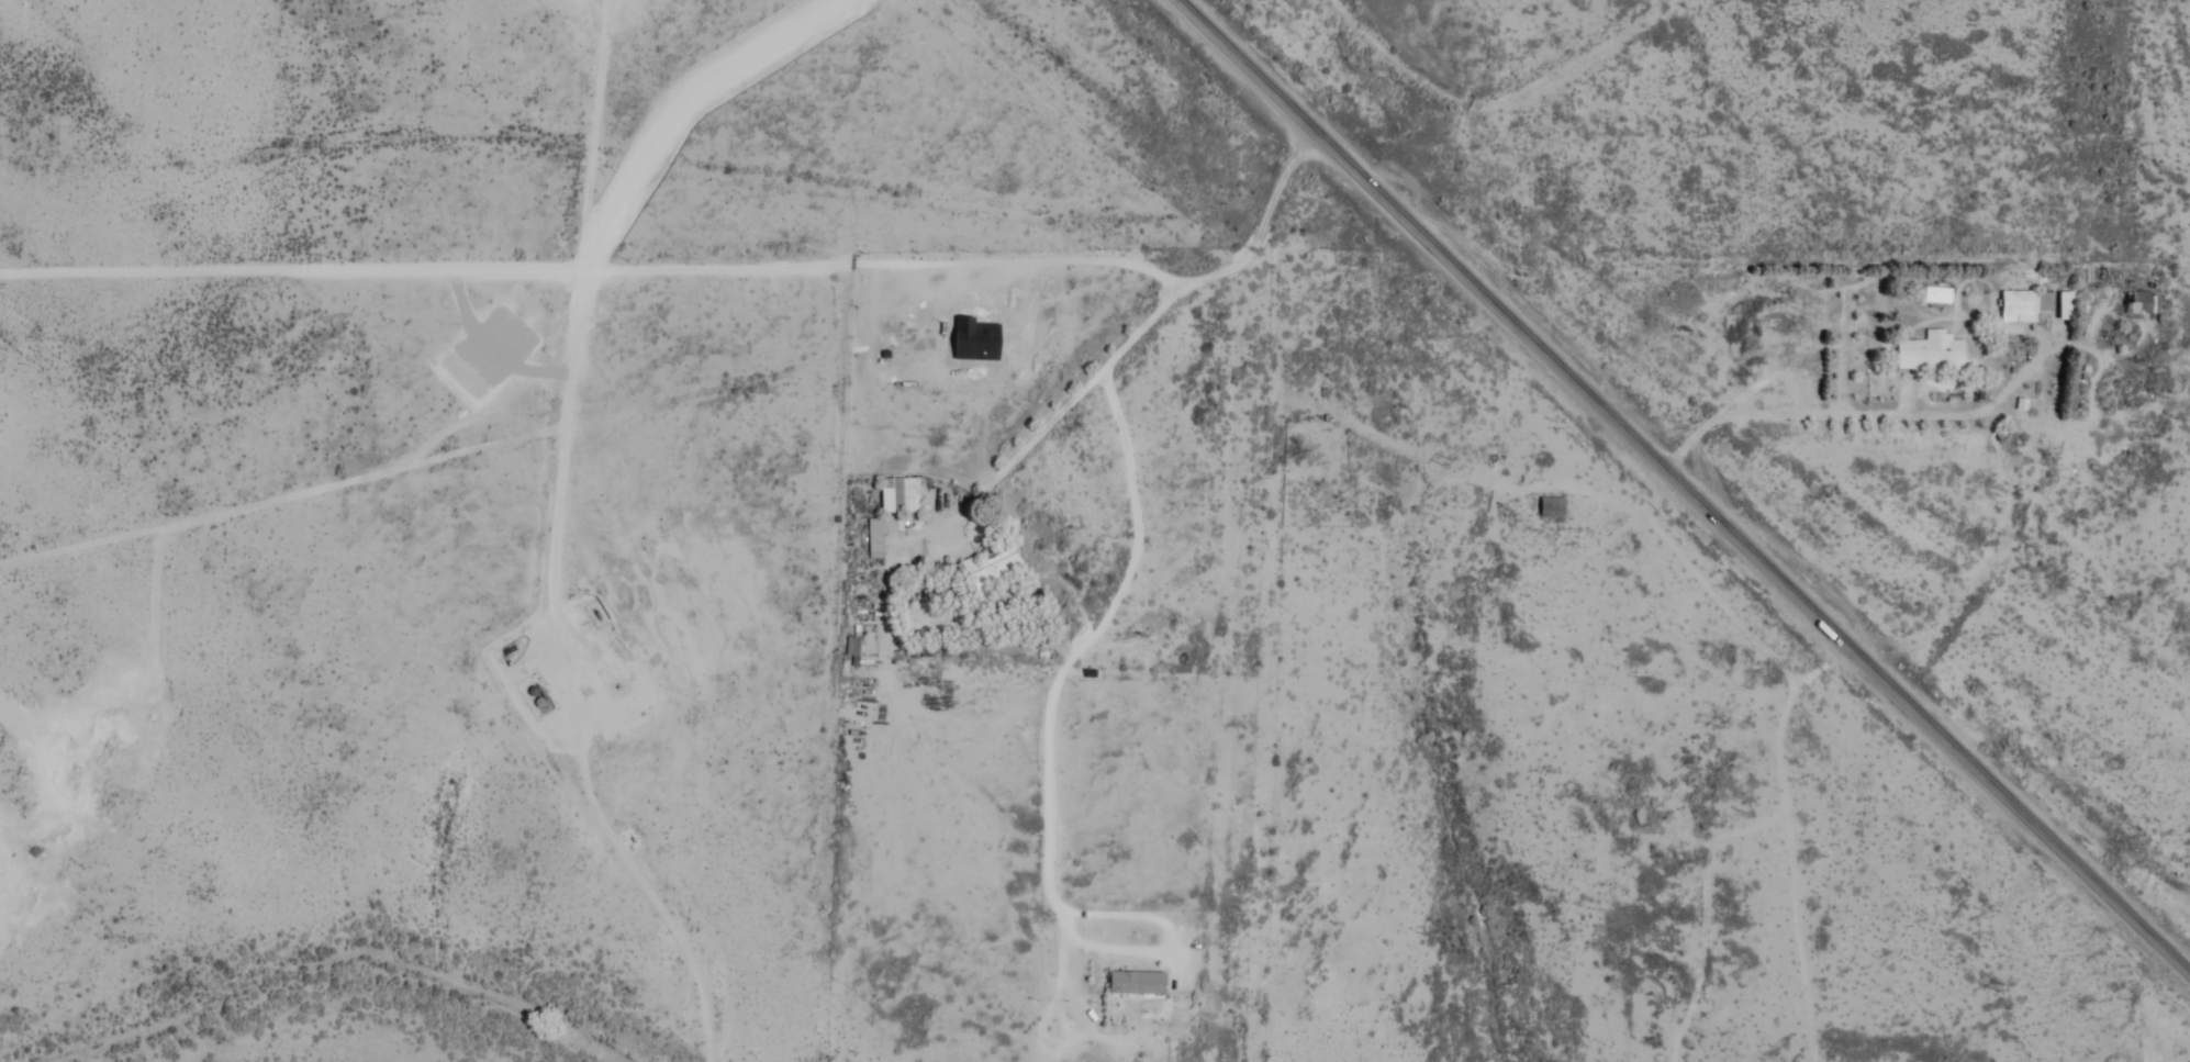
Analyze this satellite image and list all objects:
power tower: (1158, 181)
road: (594, 272)
building: (2024, 303)
road: (1152, 315)
building: (1924, 350)
power tower: (1443, 458)
road: (1681, 488)
building: (898, 492)
building: (990, 570)
road: (1094, 628)
power tower: (1719, 723)
building: (1135, 982)
power tower: (1995, 986)

